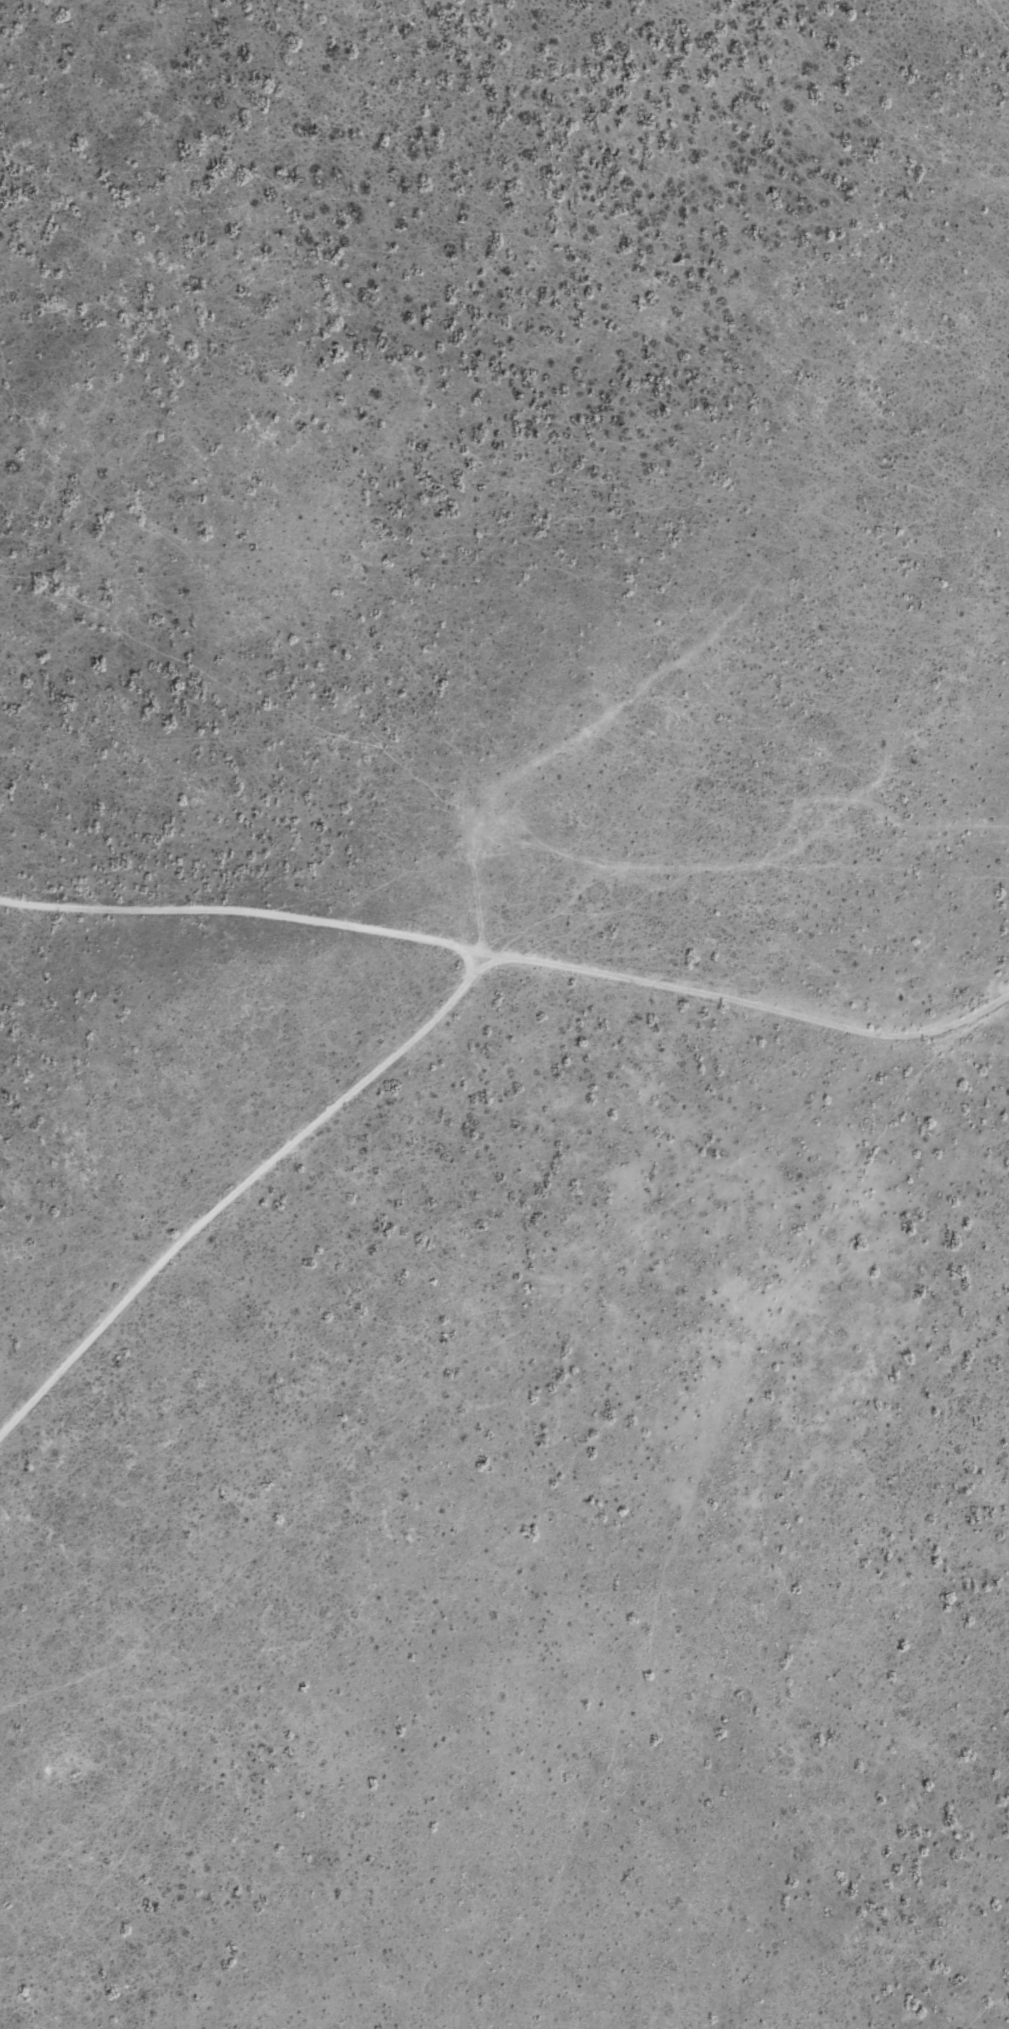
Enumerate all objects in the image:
road: (234, 932)
road: (735, 1001)
road: (225, 1210)

